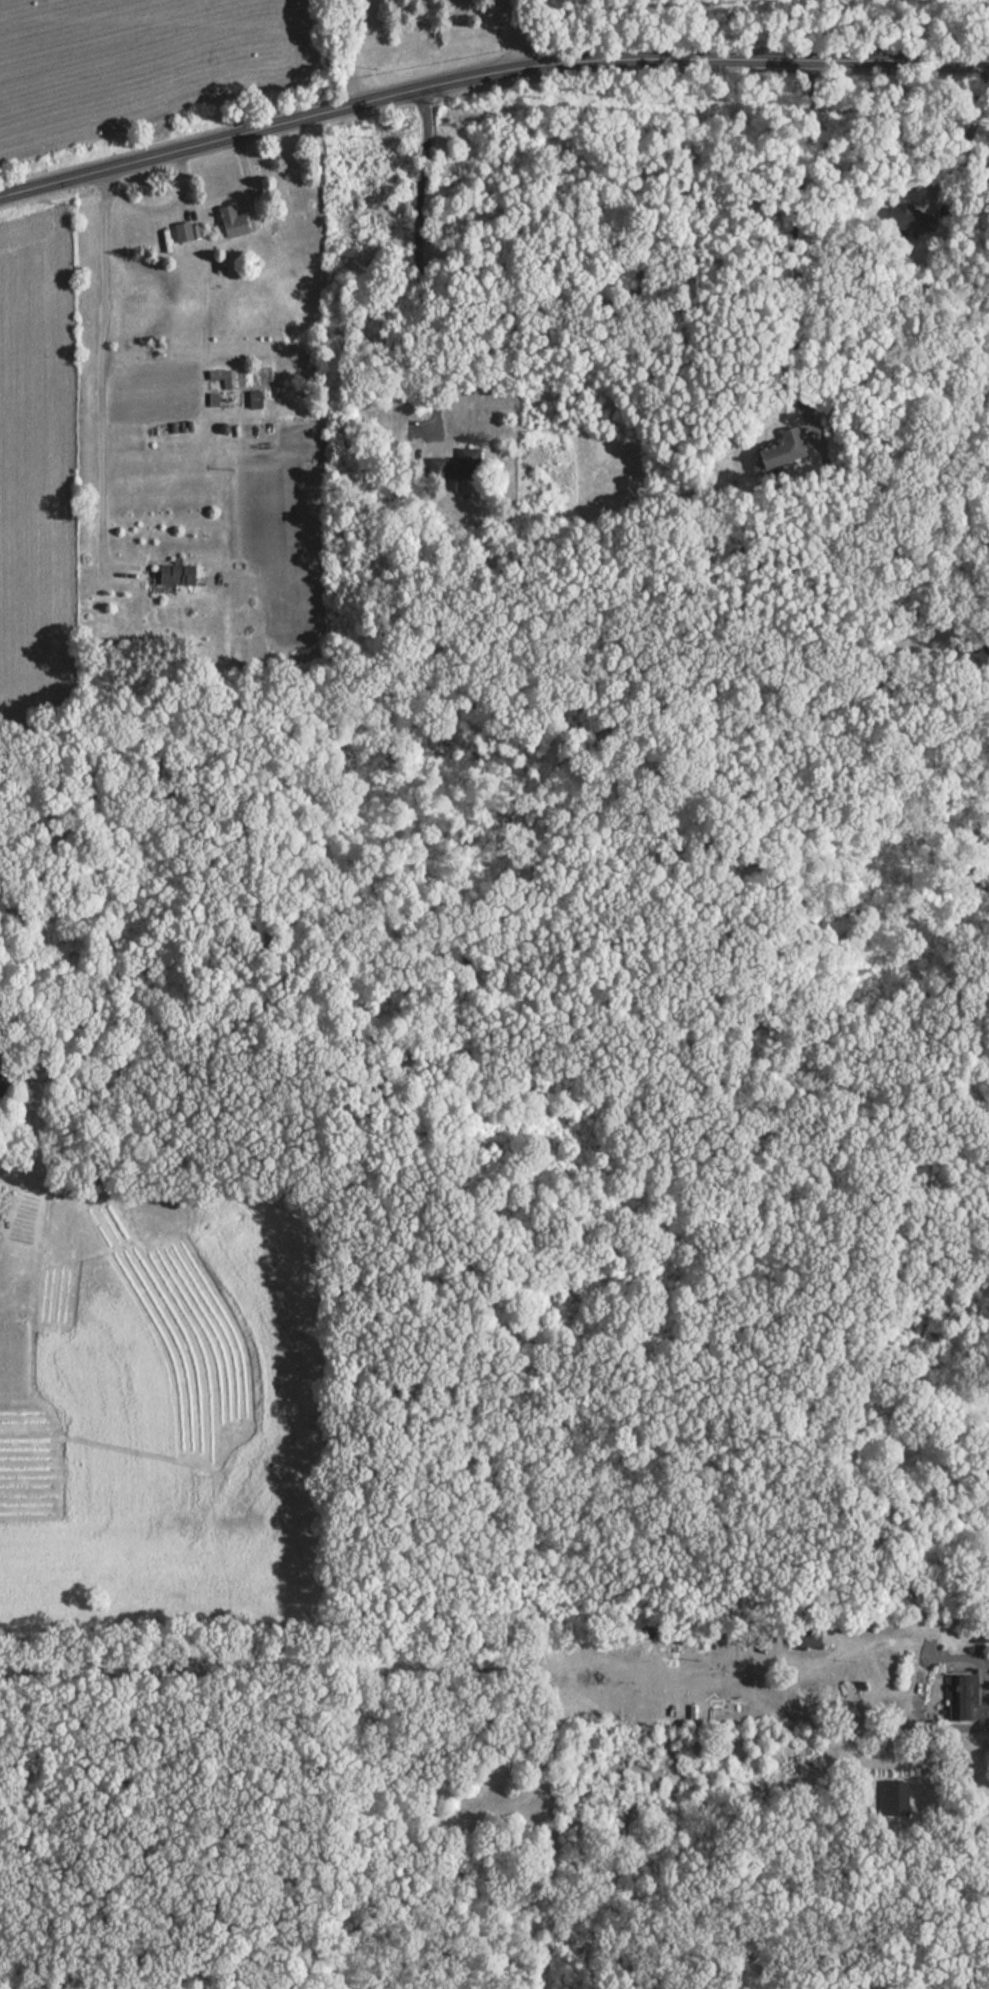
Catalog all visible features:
road: (502, 24)
crop: (141, 60)
road: (487, 71)
road: (972, 131)
building: (900, 217)
building: (234, 223)
building: (184, 233)
road: (791, 245)
road: (419, 260)
building: (220, 376)
road: (101, 377)
crop: (37, 452)
building: (781, 452)
building: (459, 466)
building: (180, 575)
building: (2, 1087)
building: (813, 1640)
road: (777, 1694)
building: (832, 1695)
building: (963, 1699)
building: (694, 1719)
building: (891, 1798)

